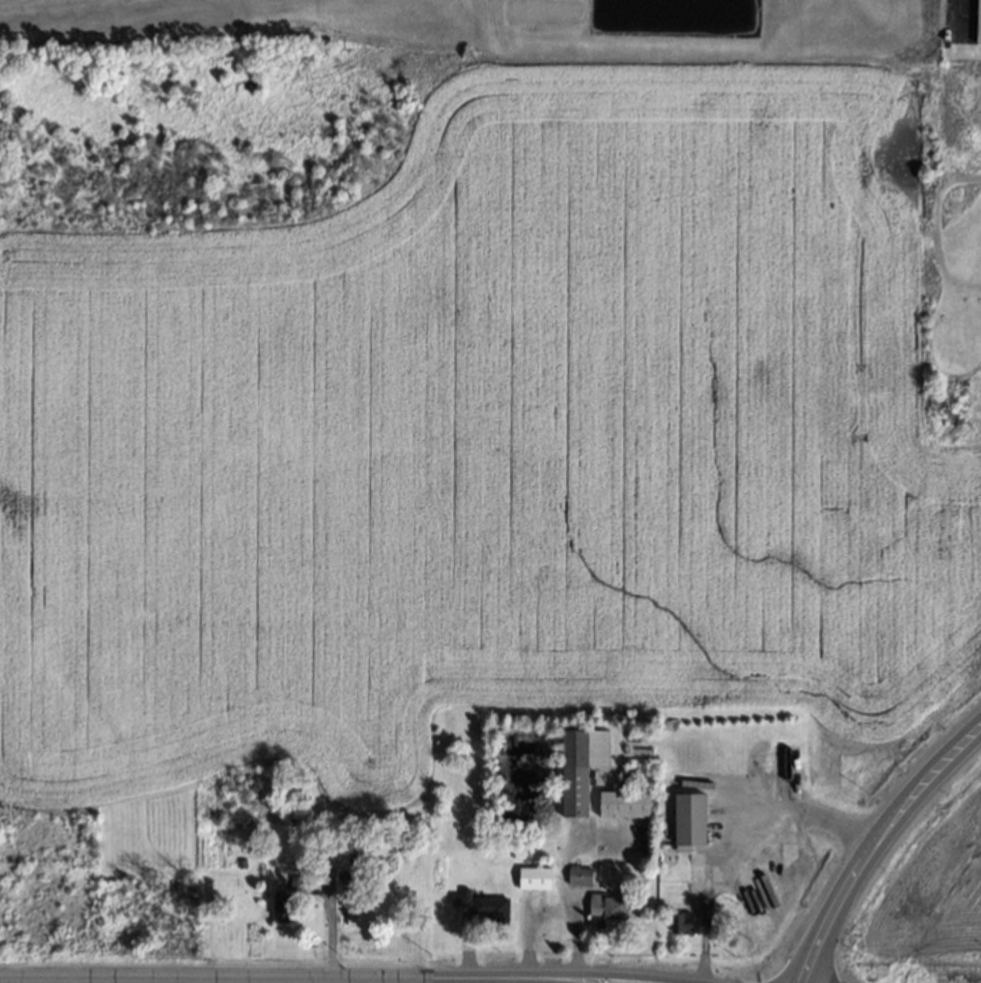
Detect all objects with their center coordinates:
airport taxiway: (957, 4)
airport apron: (960, 21)
airport: (570, 23)
airport hangar: (979, 23)
building: (979, 23)
building: (581, 766)
building: (625, 803)
building: (690, 820)
road: (735, 826)
road: (876, 845)
building: (336, 856)
building: (581, 875)
building: (535, 877)
building: (483, 905)
building: (282, 908)
building: (607, 908)
road: (331, 920)
building: (682, 922)
road: (618, 972)
road: (261, 978)
road: (492, 980)
road: (546, 980)

